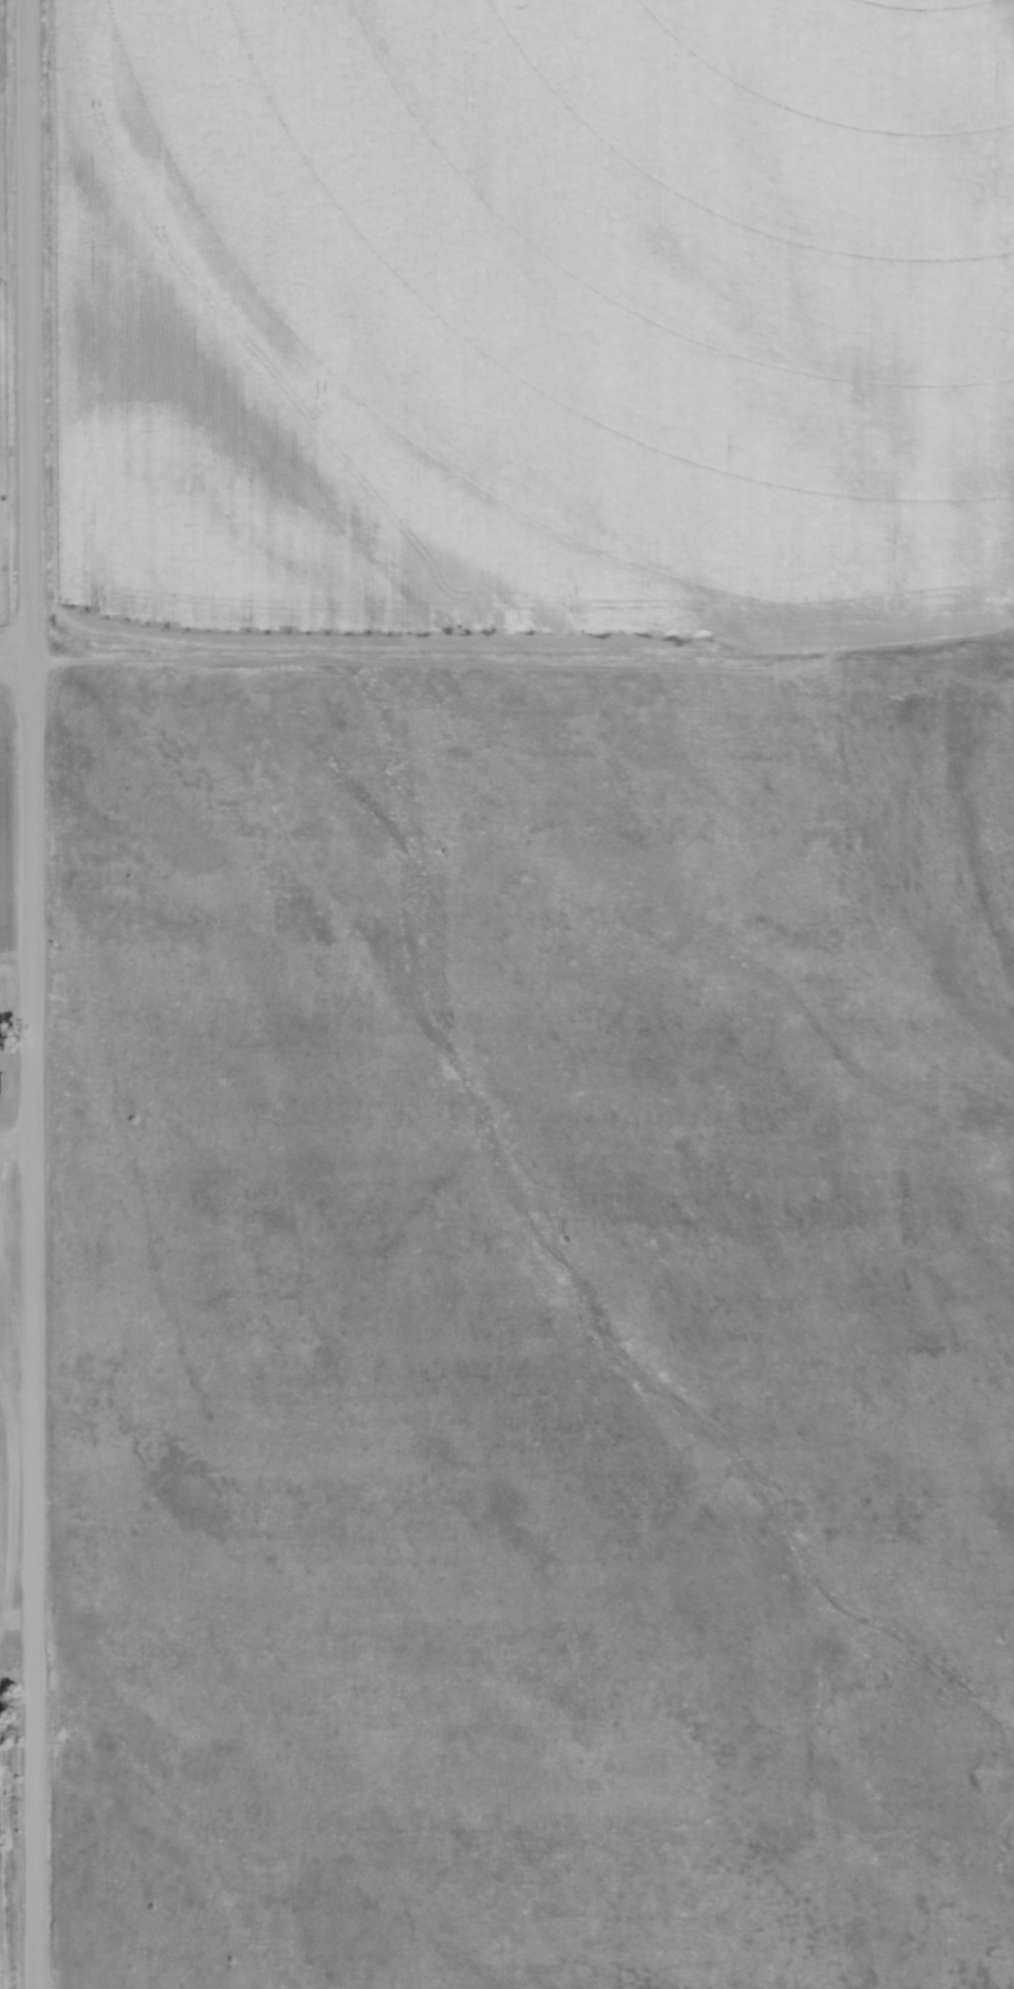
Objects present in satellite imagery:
crop: (536, 314)
road: (16, 654)
road: (32, 994)
road: (16, 1142)
crop: (0, 1978)

